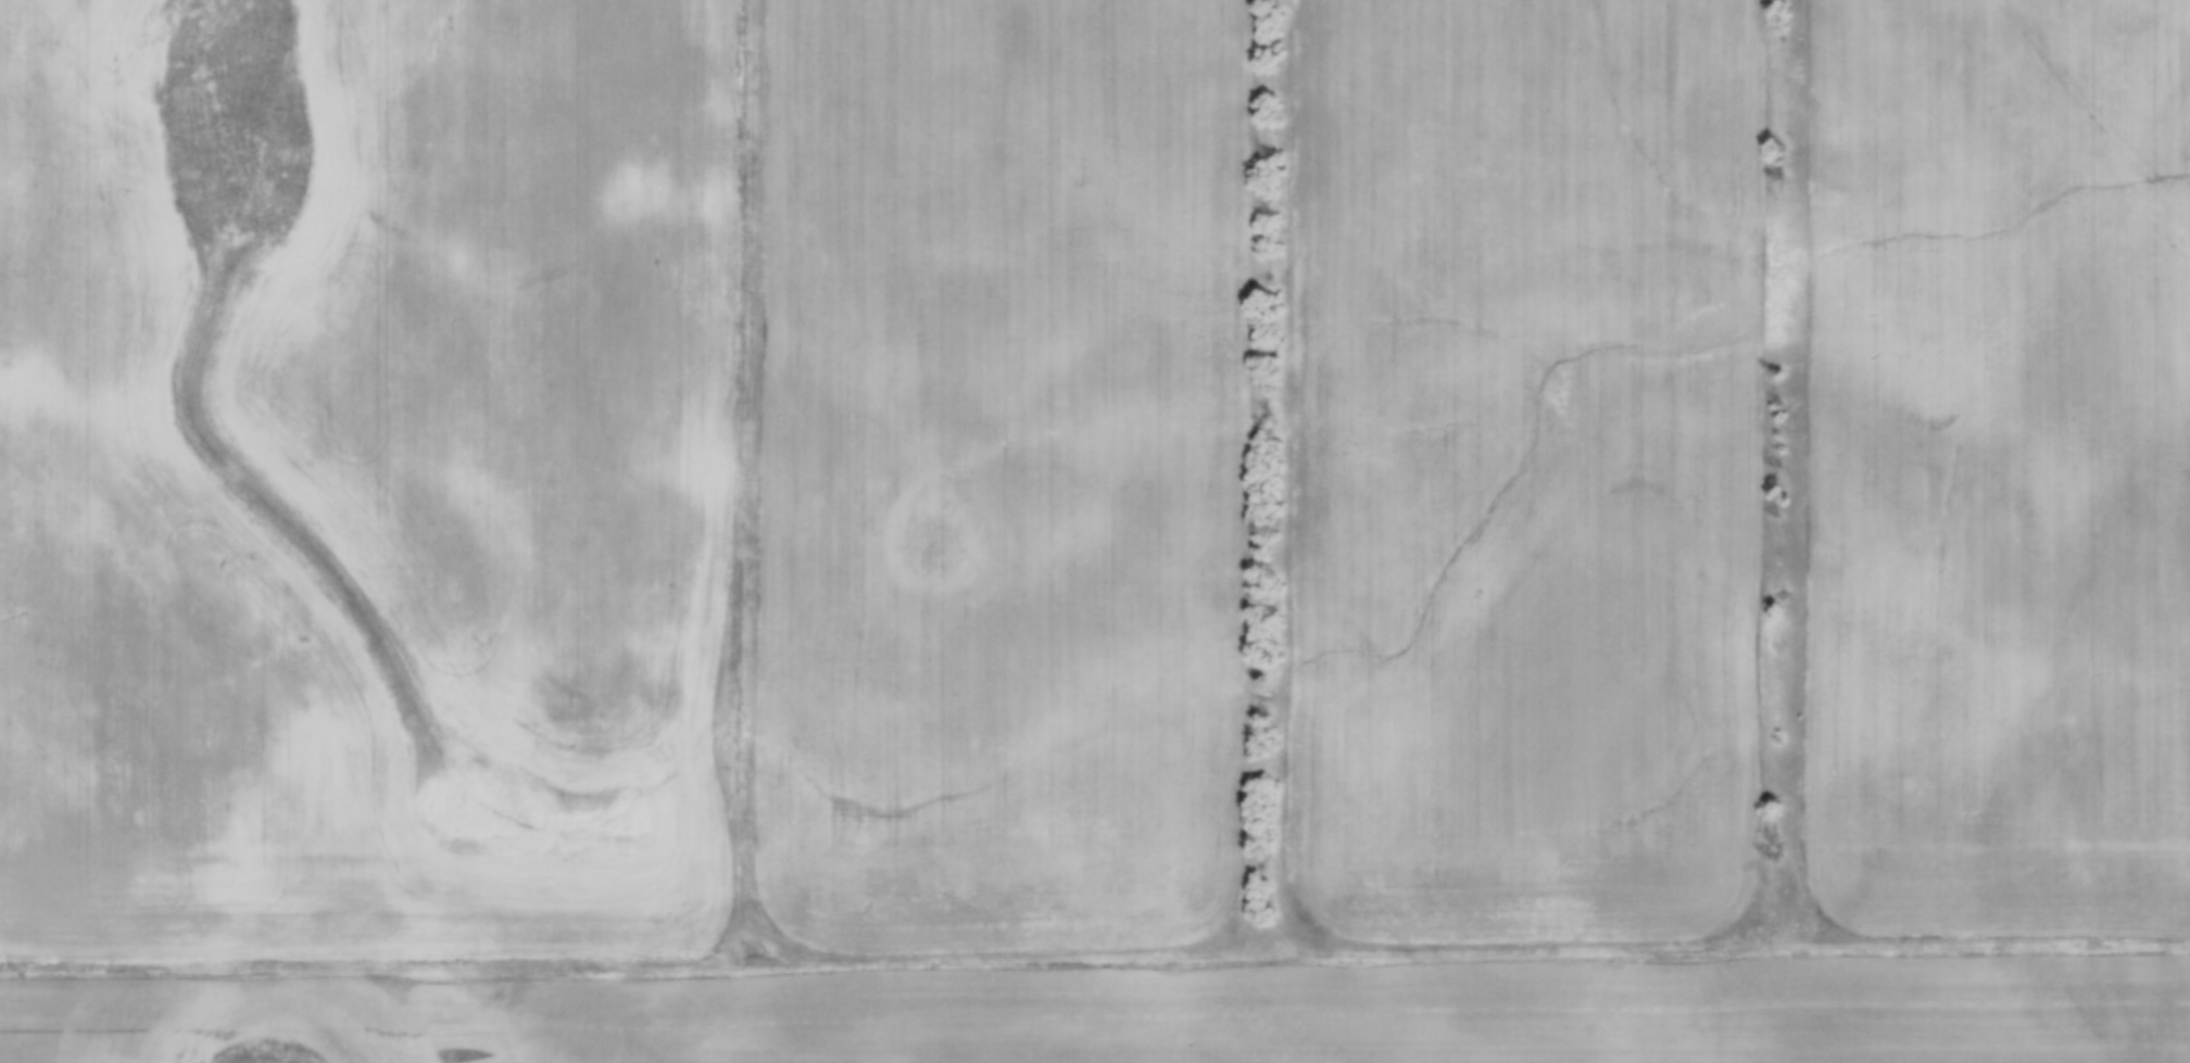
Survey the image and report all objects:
road: (2107, 81)

